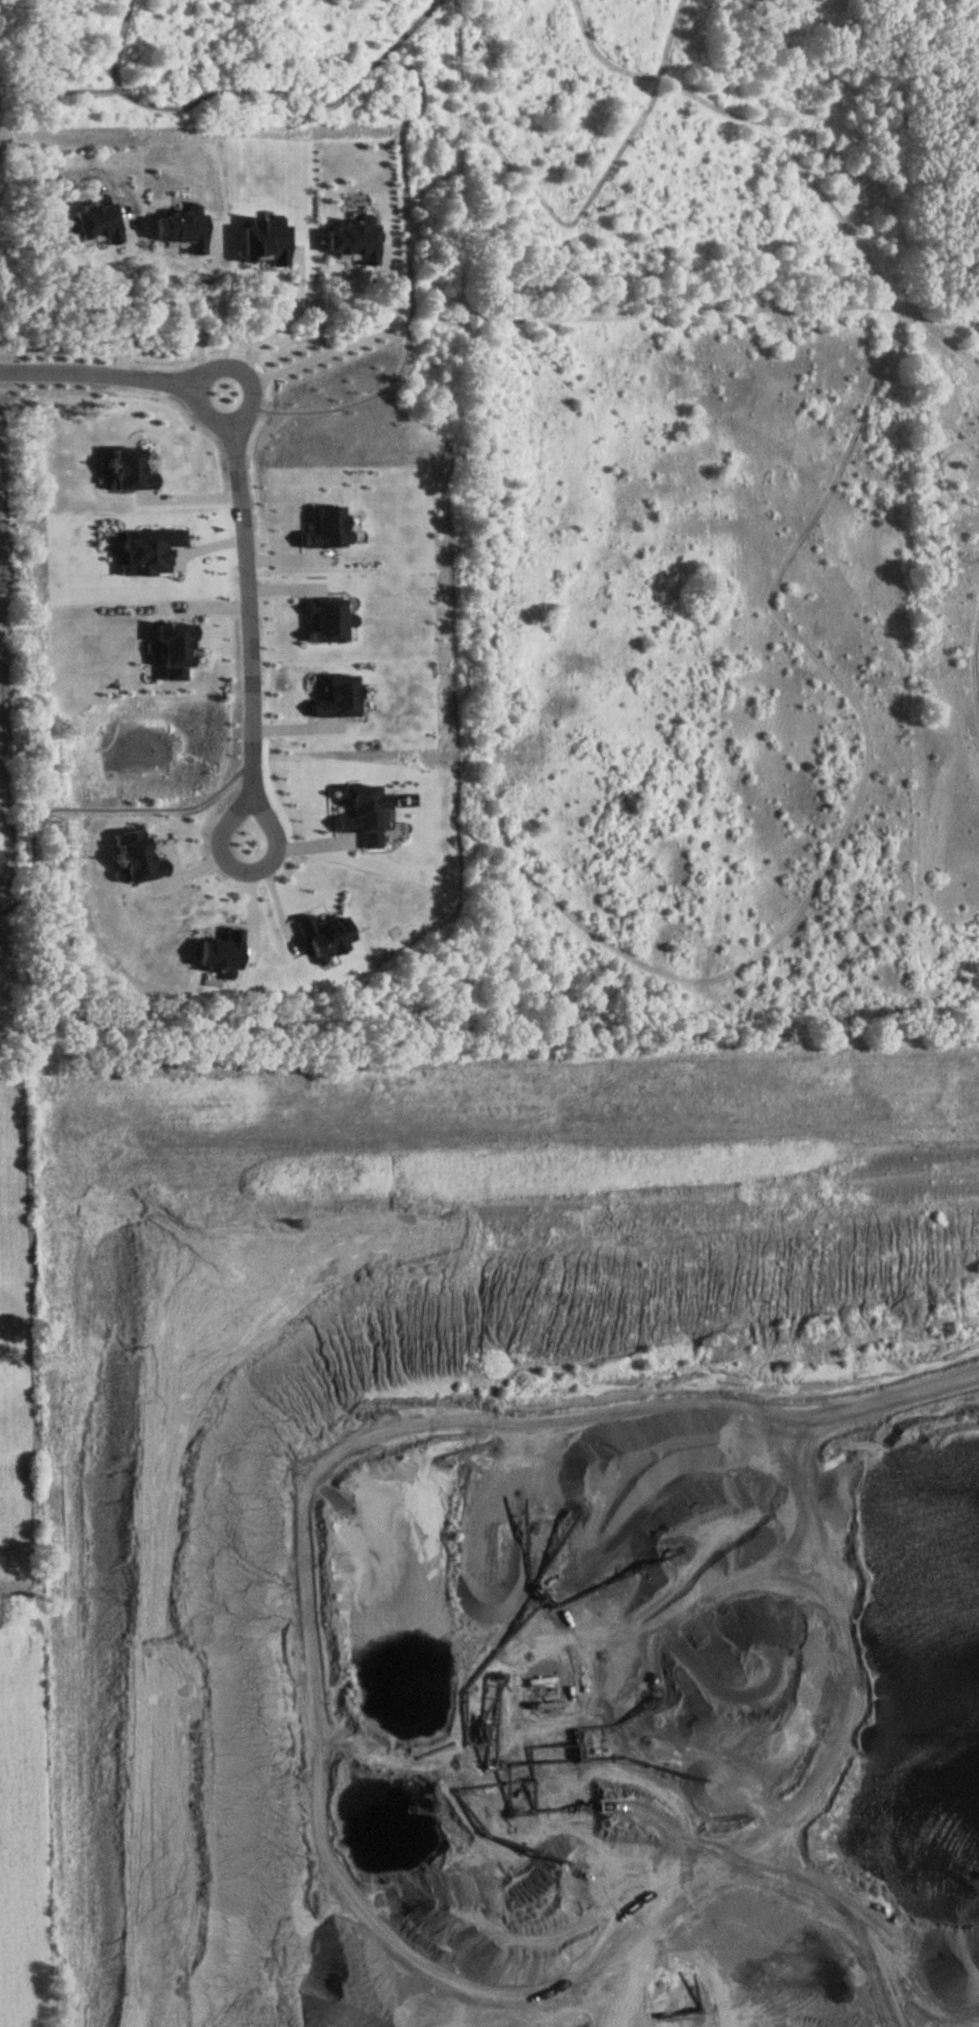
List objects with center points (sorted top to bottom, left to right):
road: (122, 44)
road: (57, 94)
road: (296, 95)
road: (793, 154)
building: (94, 220)
building: (180, 227)
building: (263, 241)
building: (352, 241)
road: (413, 283)
road: (201, 299)
road: (123, 311)
road: (695, 312)
road: (283, 320)
road: (349, 344)
road: (102, 375)
road: (243, 376)
building: (130, 467)
road: (192, 496)
building: (324, 535)
building: (147, 549)
building: (325, 620)
building: (173, 647)
road: (978, 665)
building: (336, 695)
road: (255, 710)
road: (99, 810)
building: (362, 816)
quarry: (964, 850)
building: (134, 853)
road: (3, 914)
building: (319, 929)
building: (220, 948)
road: (722, 979)
road: (469, 1422)
quarry: (516, 1540)
road: (783, 1612)
road: (862, 1767)

